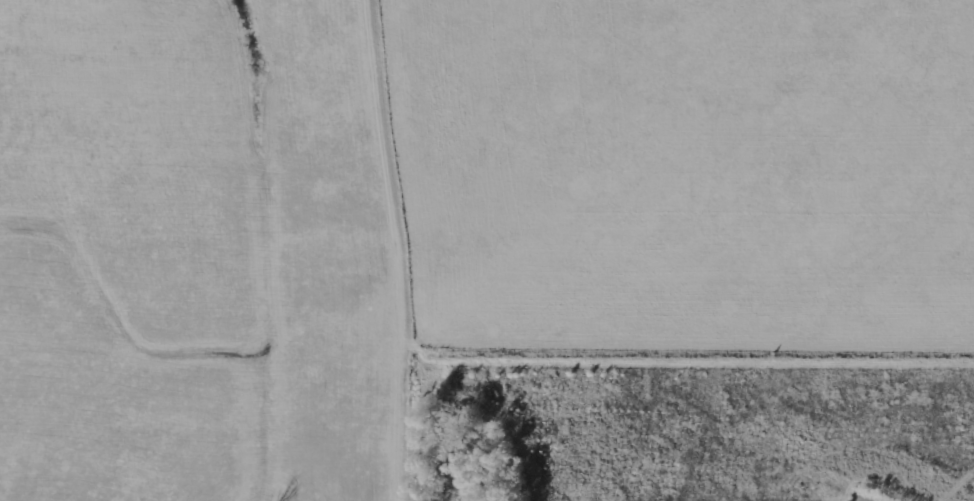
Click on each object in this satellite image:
road: (408, 250)

